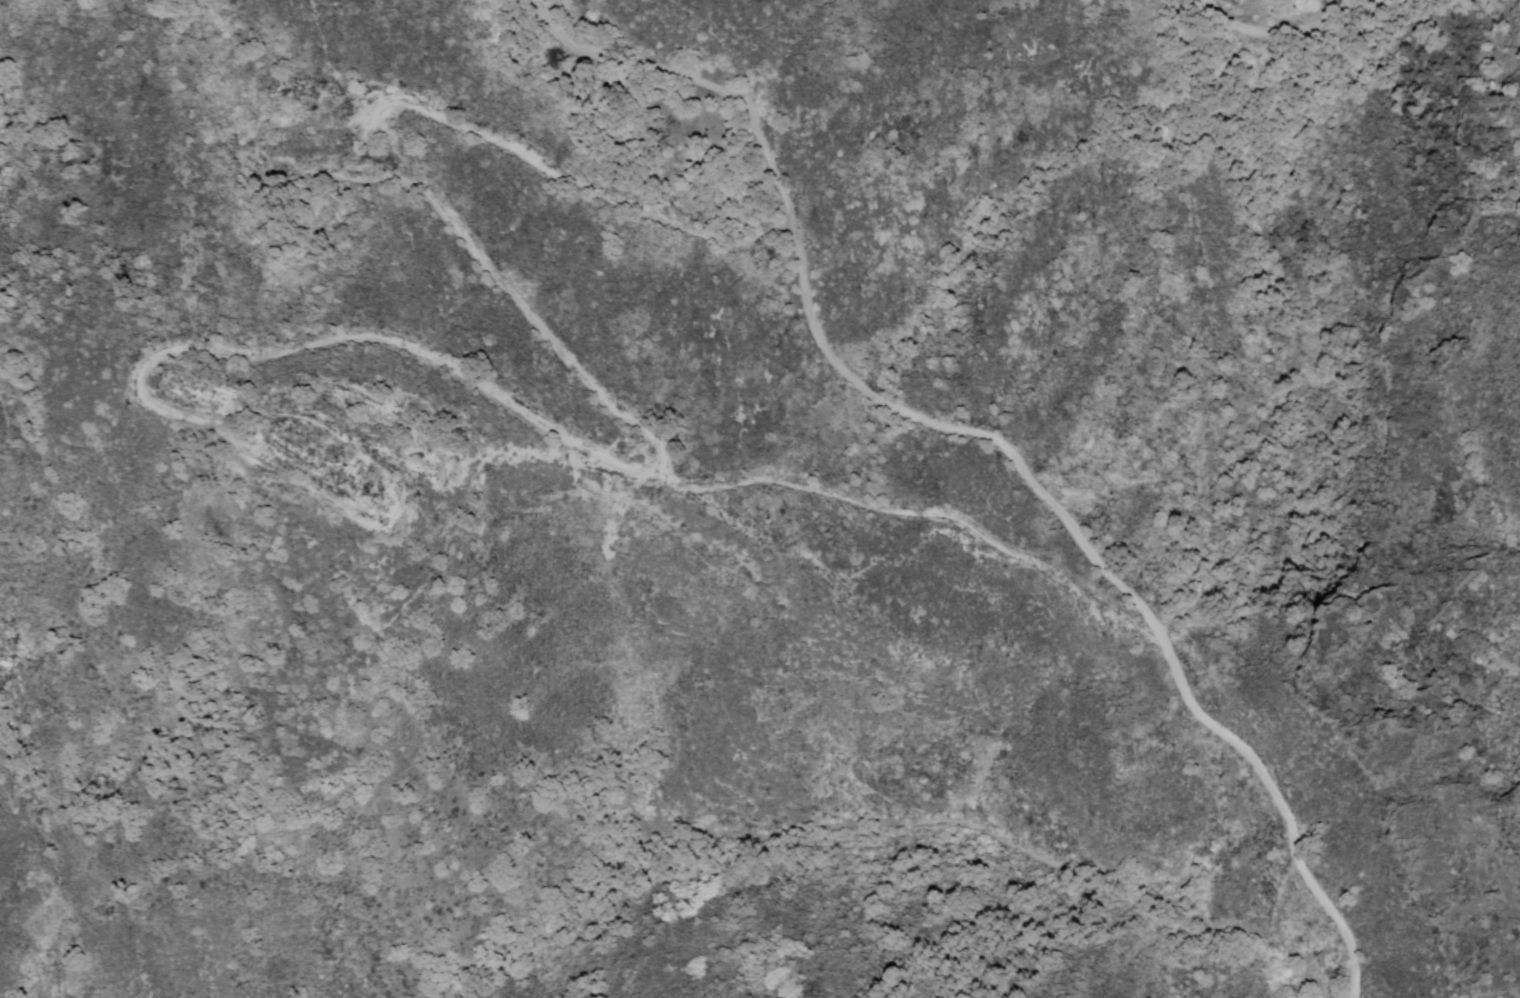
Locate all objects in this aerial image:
road: (1255, 18)
road: (970, 430)

